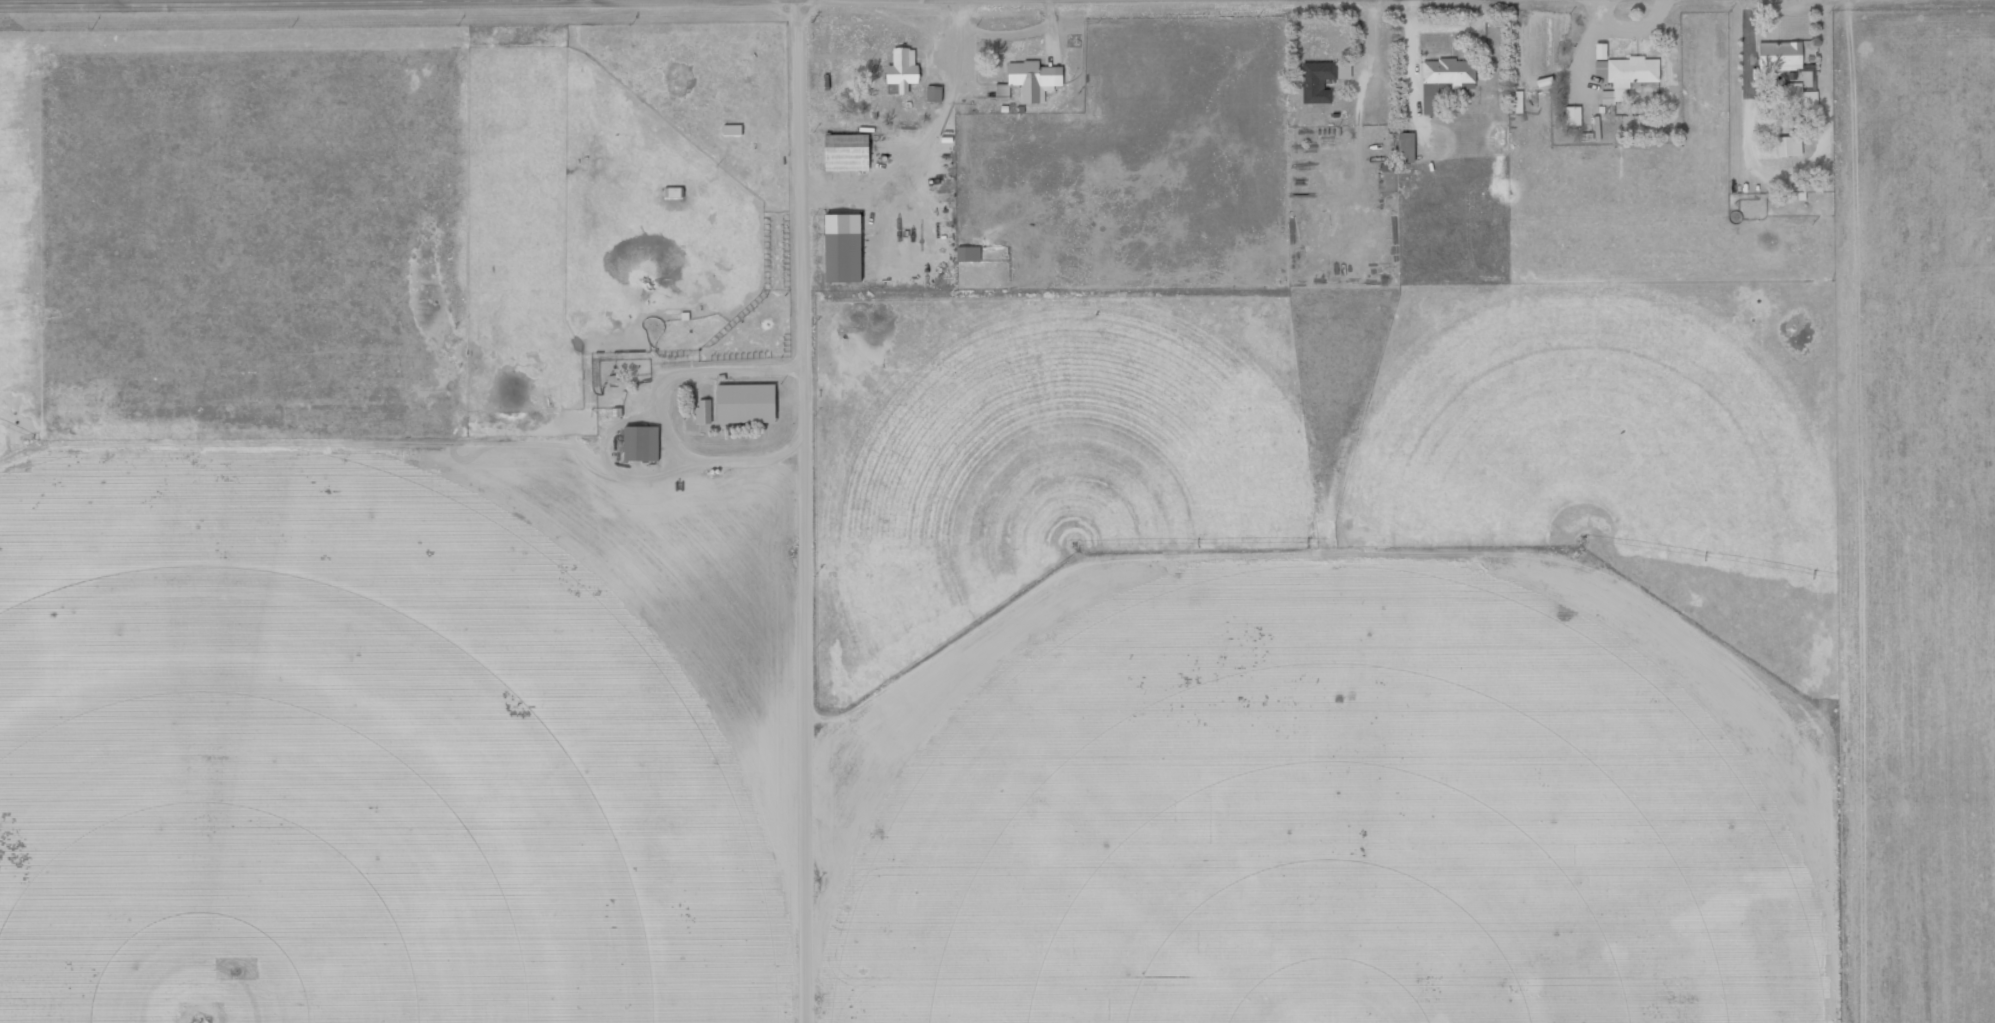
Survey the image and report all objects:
road: (536, 5)
building: (898, 70)
building: (1628, 72)
building: (1785, 73)
building: (1445, 74)
building: (1318, 81)
building: (1026, 82)
building: (930, 95)
building: (1611, 98)
building: (727, 132)
building: (1786, 147)
building: (1402, 148)
building: (841, 153)
building: (668, 194)
building: (964, 255)
building: (835, 258)
building: (740, 405)
building: (700, 412)
building: (635, 444)
road: (806, 511)
road: (1829, 511)
road: (544, 982)

